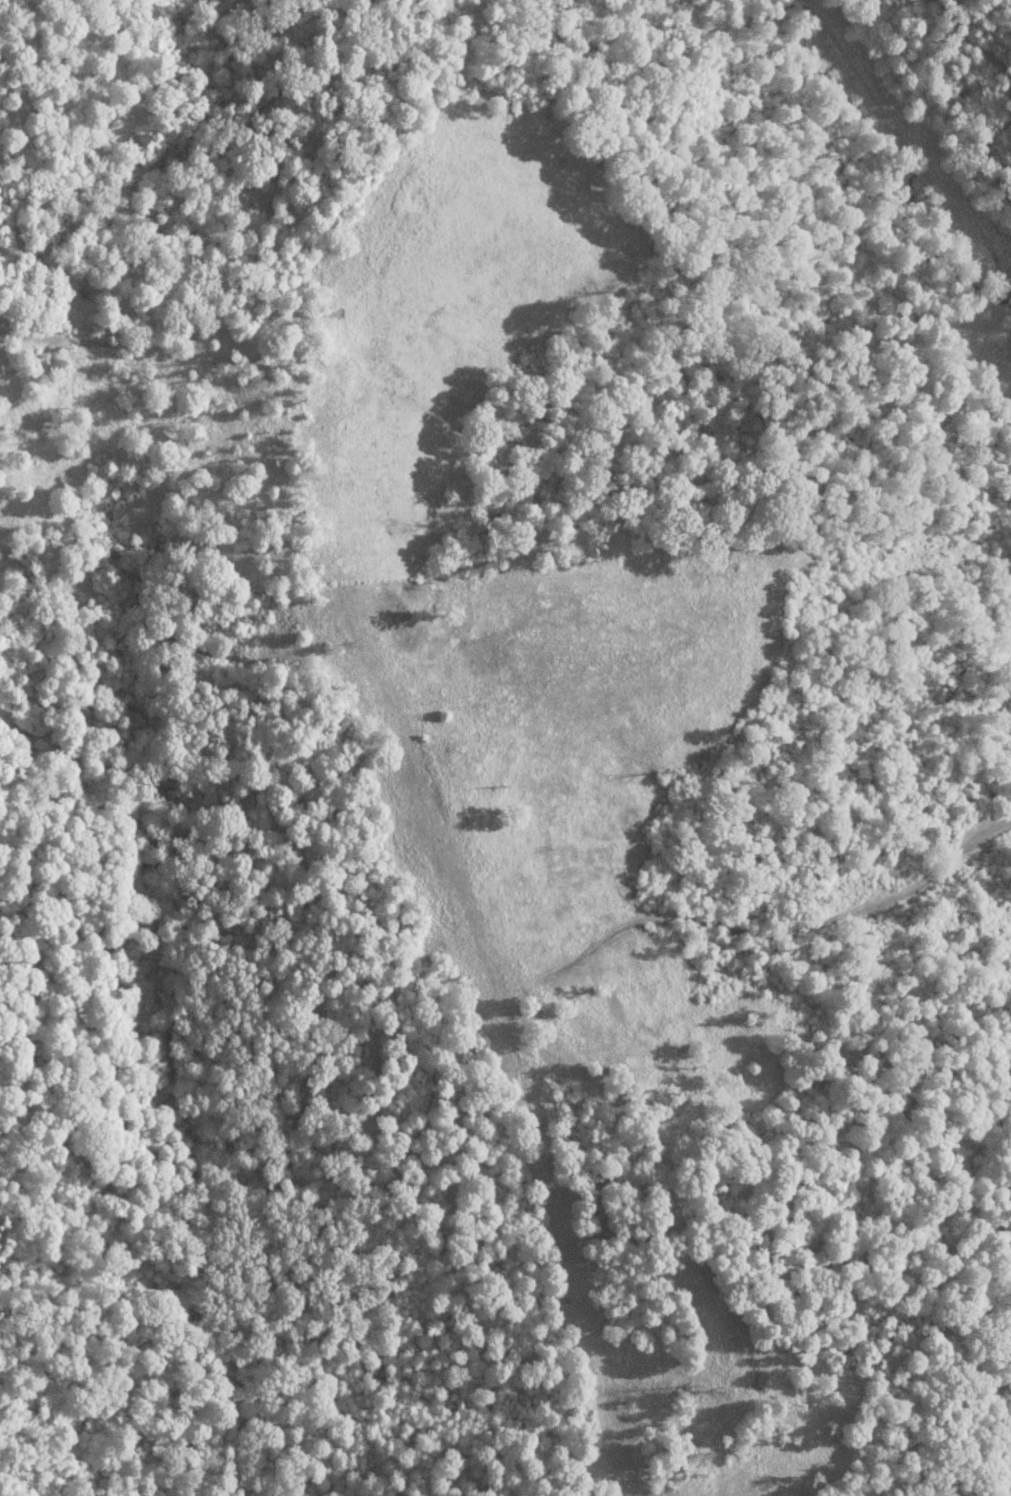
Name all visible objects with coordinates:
building: (757, 1377)

